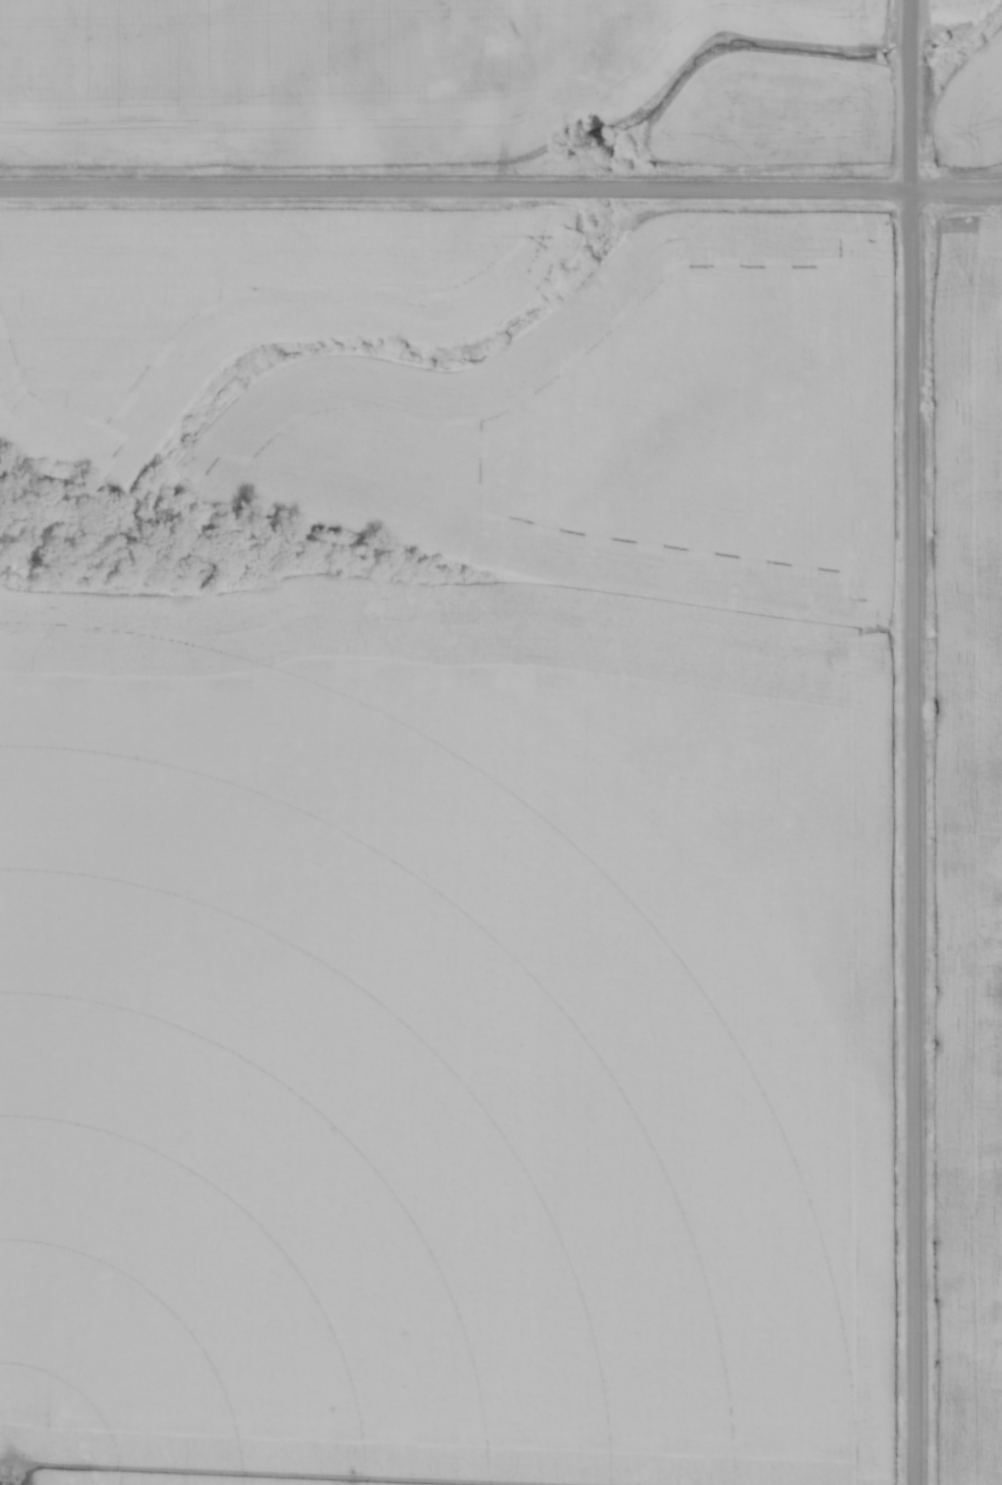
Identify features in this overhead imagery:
road: (501, 193)
road: (910, 742)

